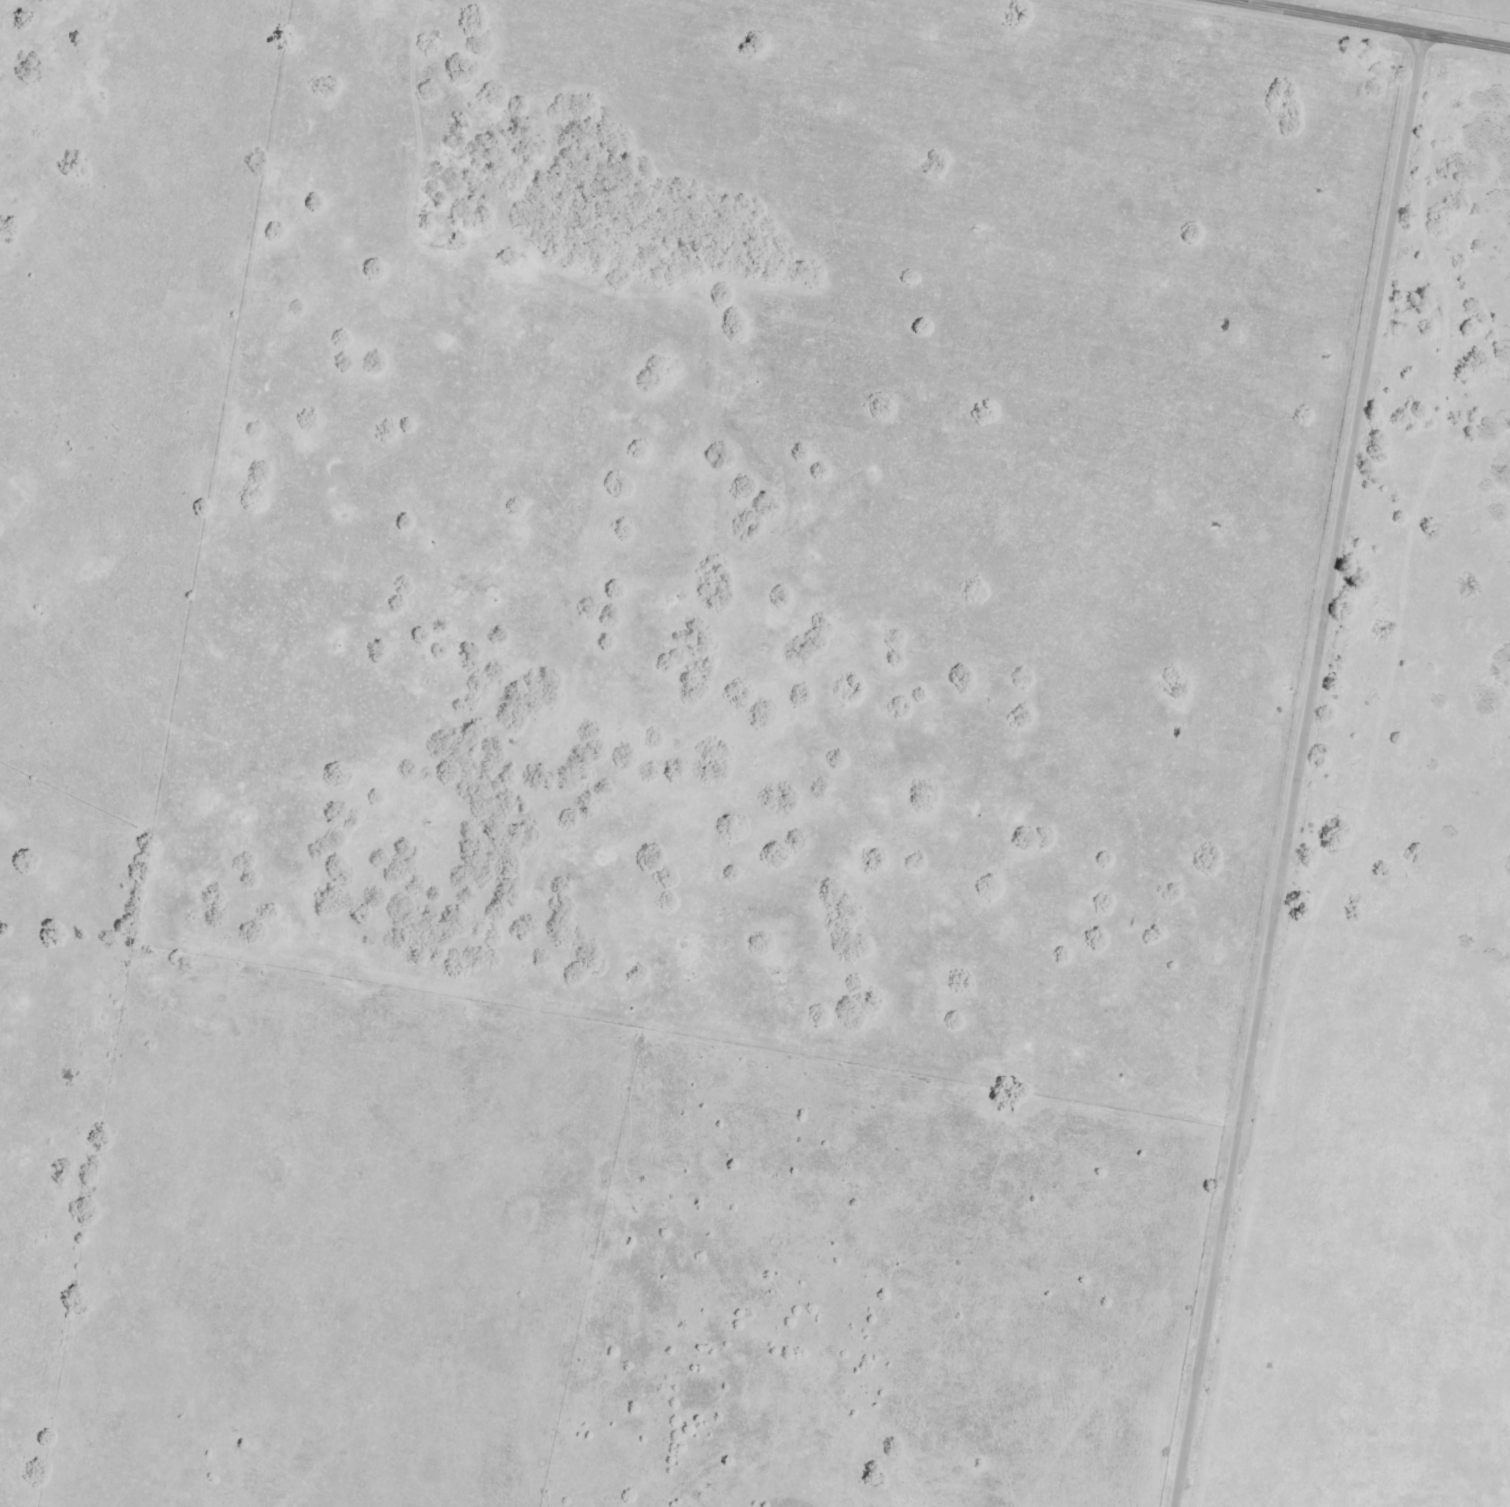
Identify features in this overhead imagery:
road: (1369, 24)
road: (1297, 770)

